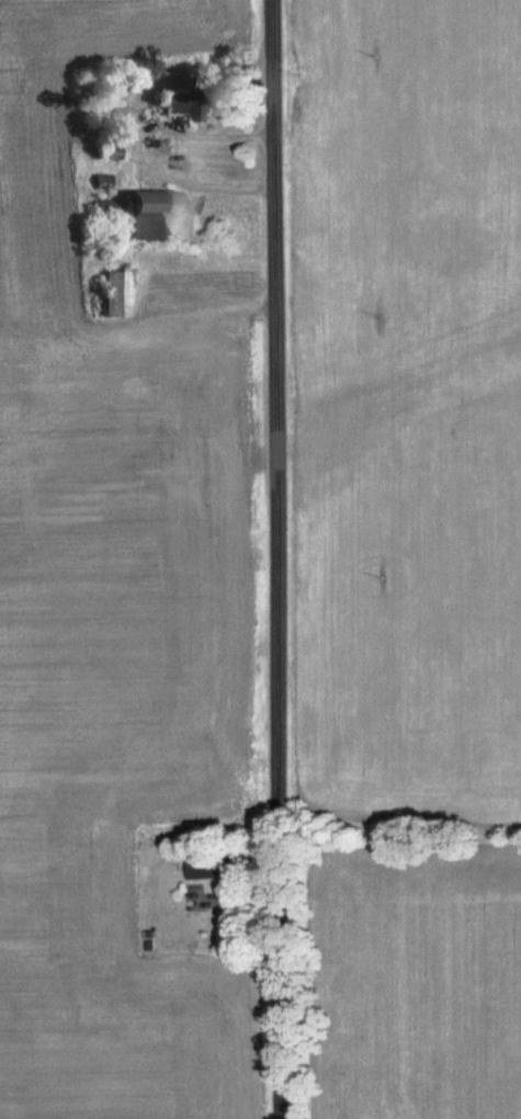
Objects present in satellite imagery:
building: (182, 109)
building: (154, 219)
building: (115, 297)
road: (275, 559)
building: (213, 870)

